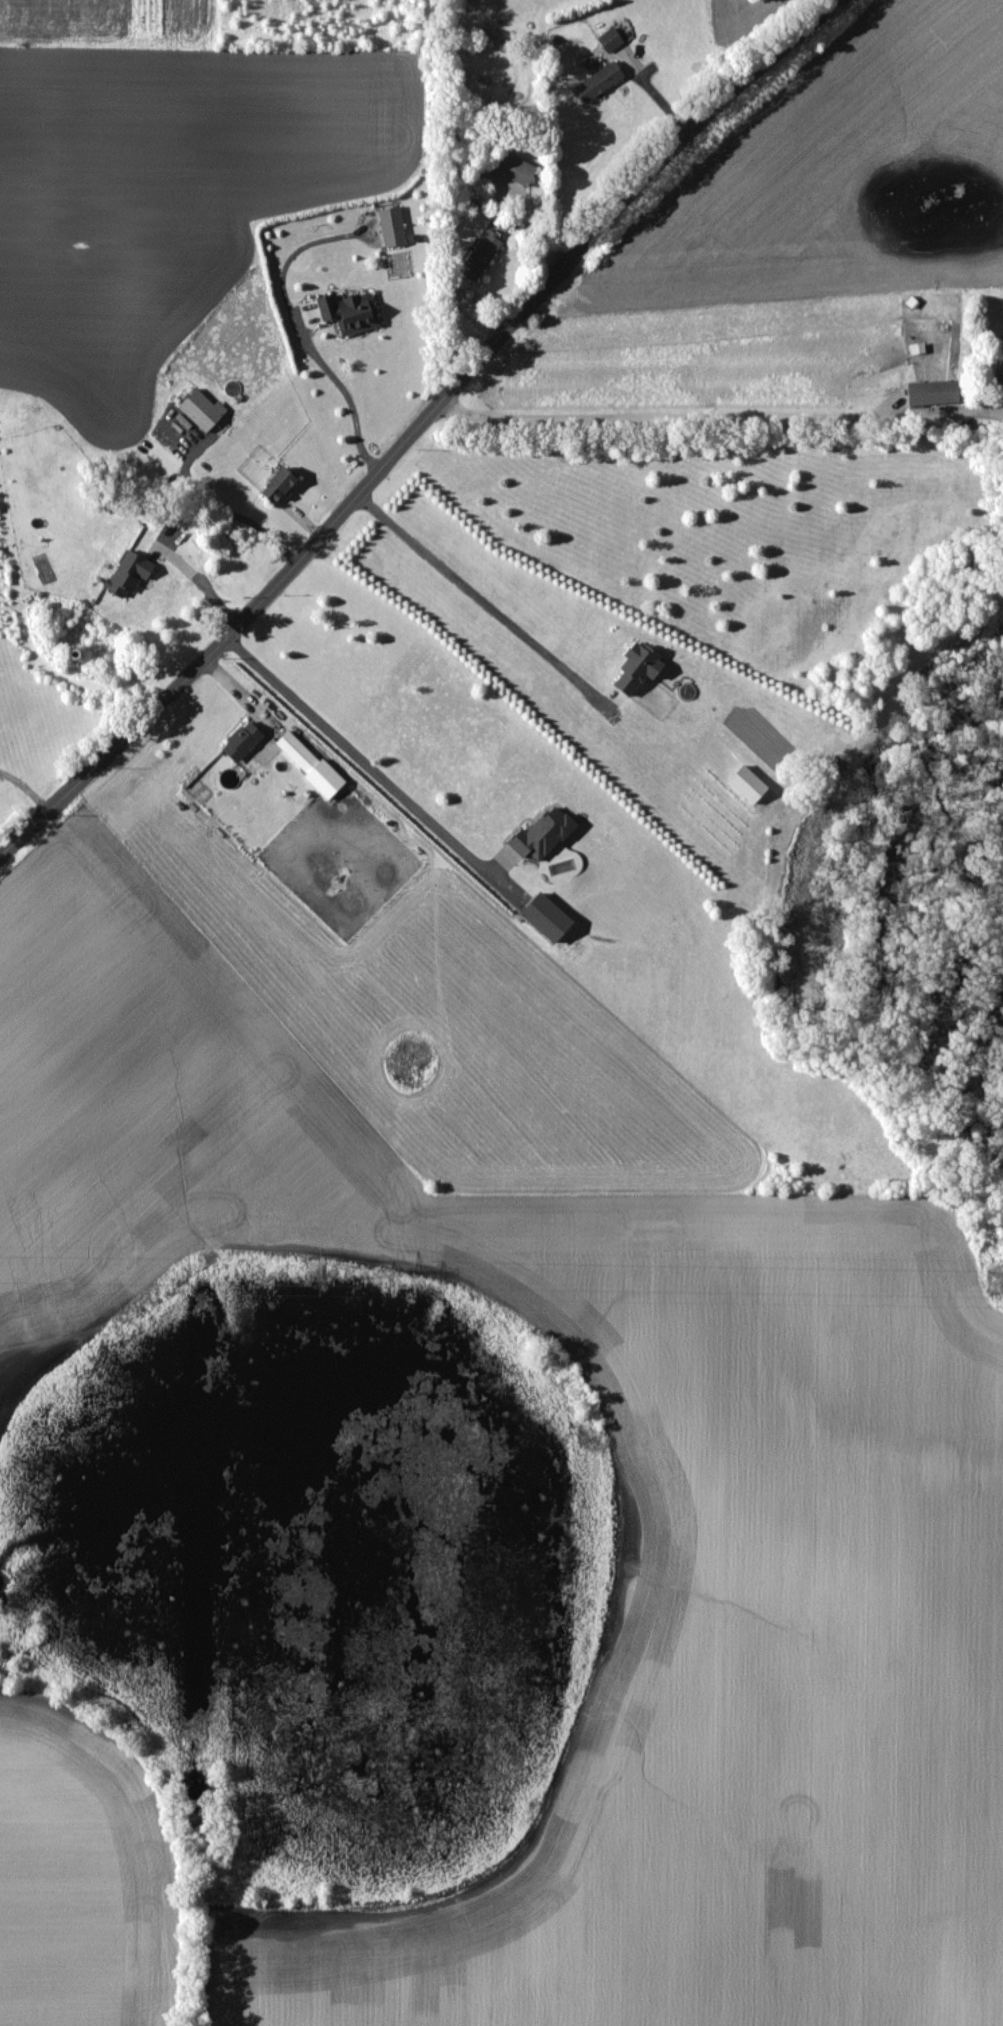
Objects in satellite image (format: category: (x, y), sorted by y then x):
building: (610, 40)
building: (600, 83)
building: (517, 171)
building: (392, 228)
building: (481, 256)
building: (350, 313)
road: (346, 391)
building: (933, 393)
building: (202, 410)
road: (720, 414)
road: (419, 426)
building: (279, 487)
road: (207, 581)
road: (482, 601)
building: (636, 669)
building: (242, 741)
road: (362, 748)
building: (297, 752)
power tower: (318, 1271)
power tower: (1000, 1283)

